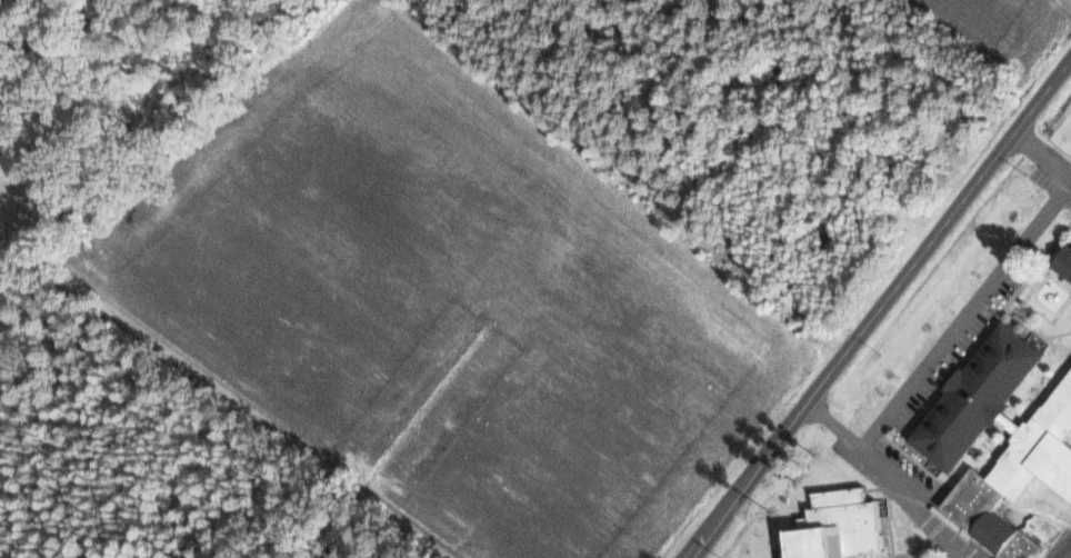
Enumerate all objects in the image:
building: (1065, 265)
road: (892, 291)
building: (977, 398)
building: (1018, 477)
building: (840, 527)
road: (700, 541)

